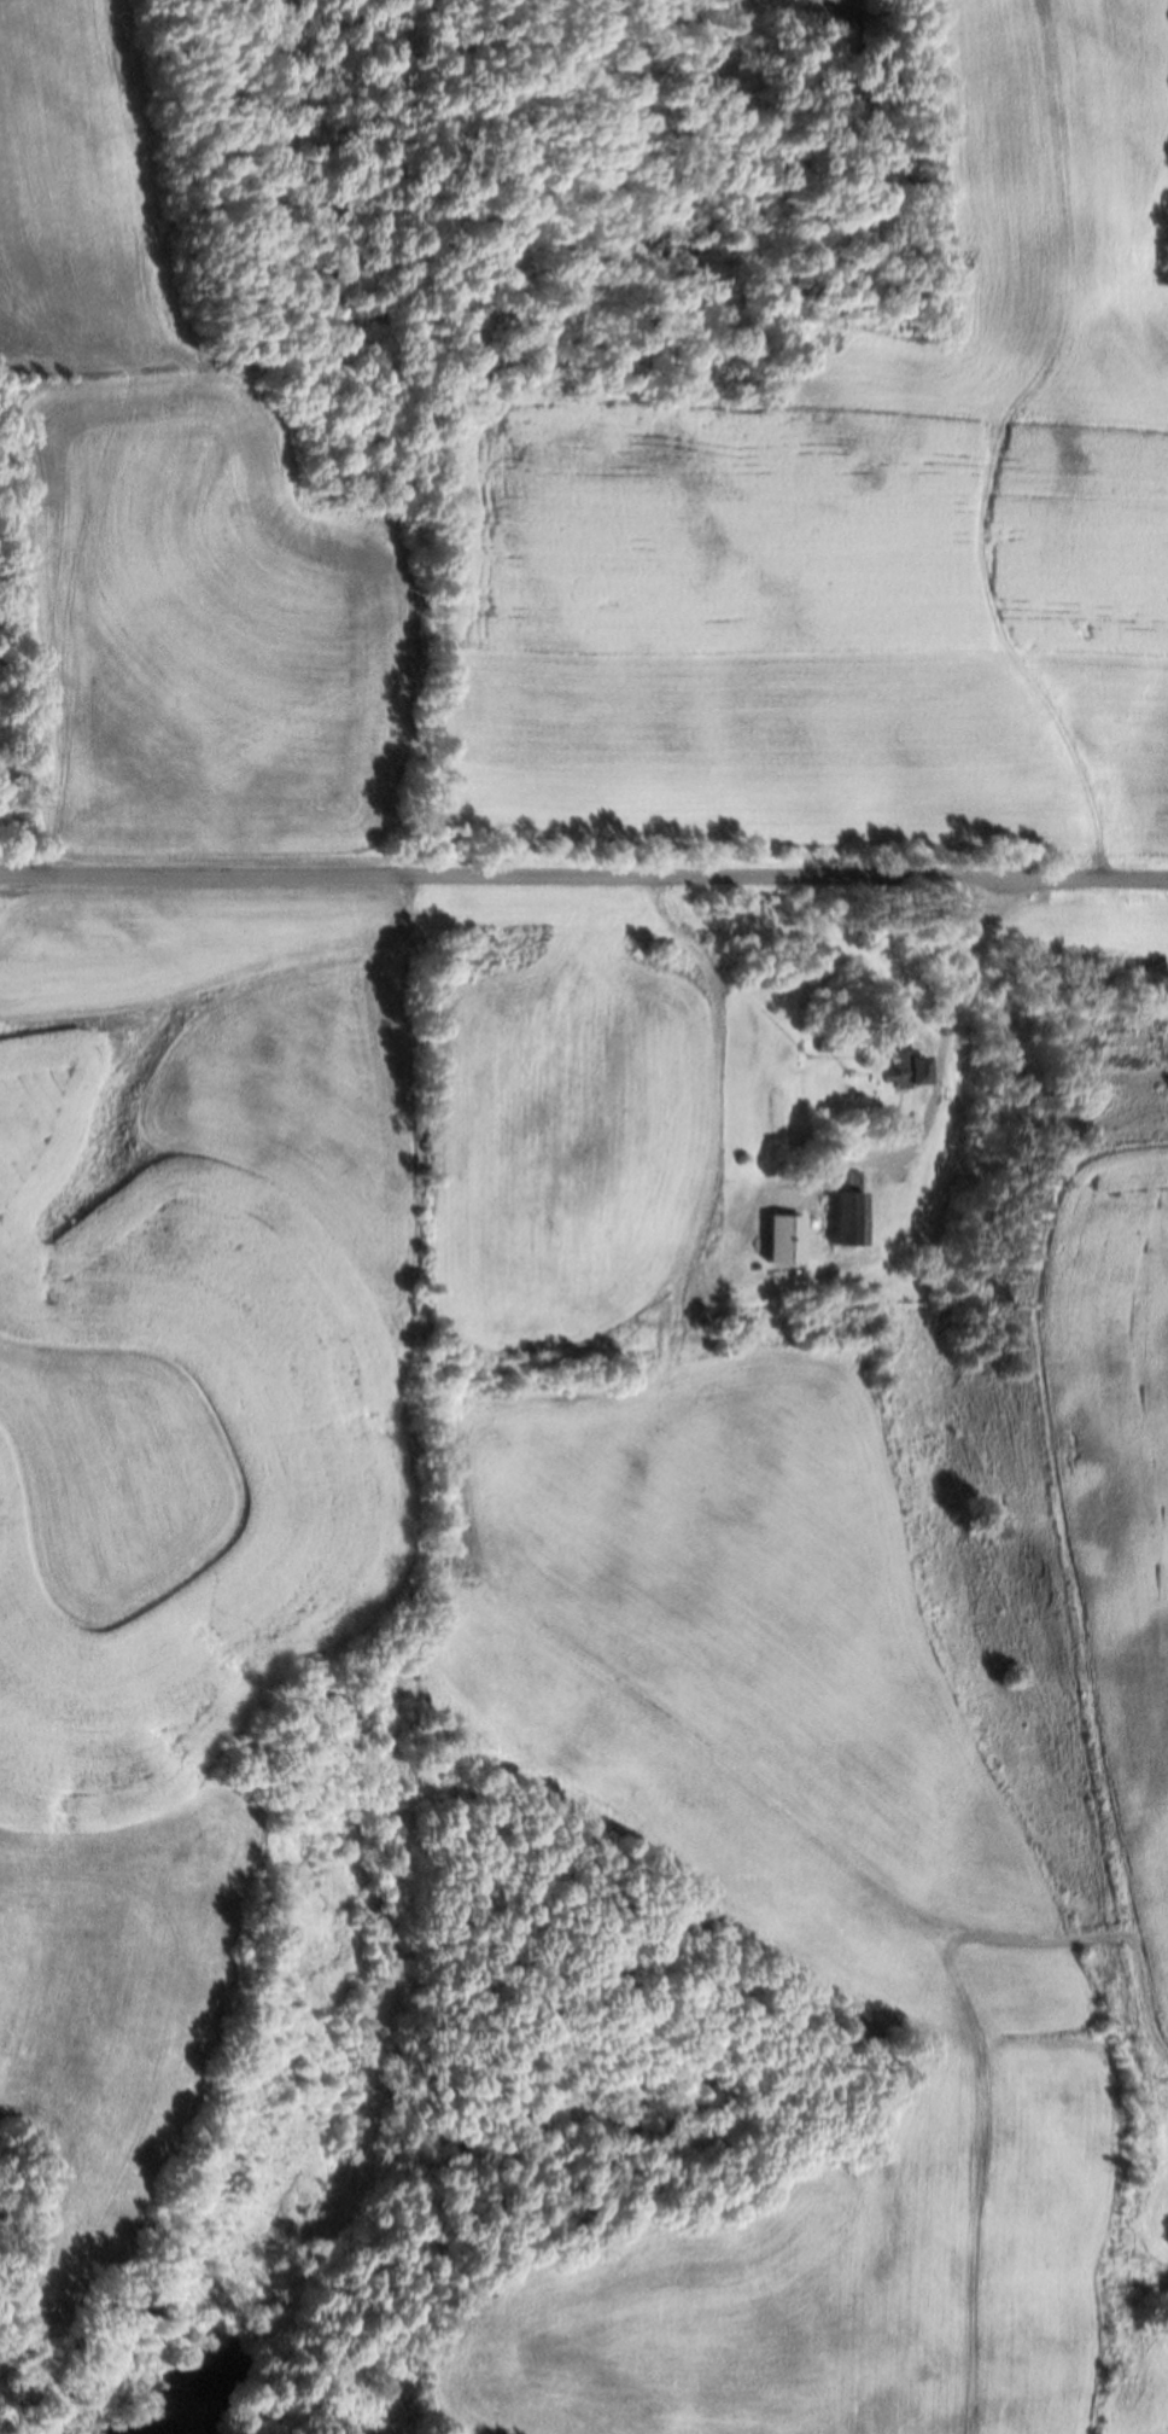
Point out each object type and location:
road: (584, 875)
road: (941, 1067)
building: (903, 1071)
building: (842, 1207)
building: (782, 1240)

